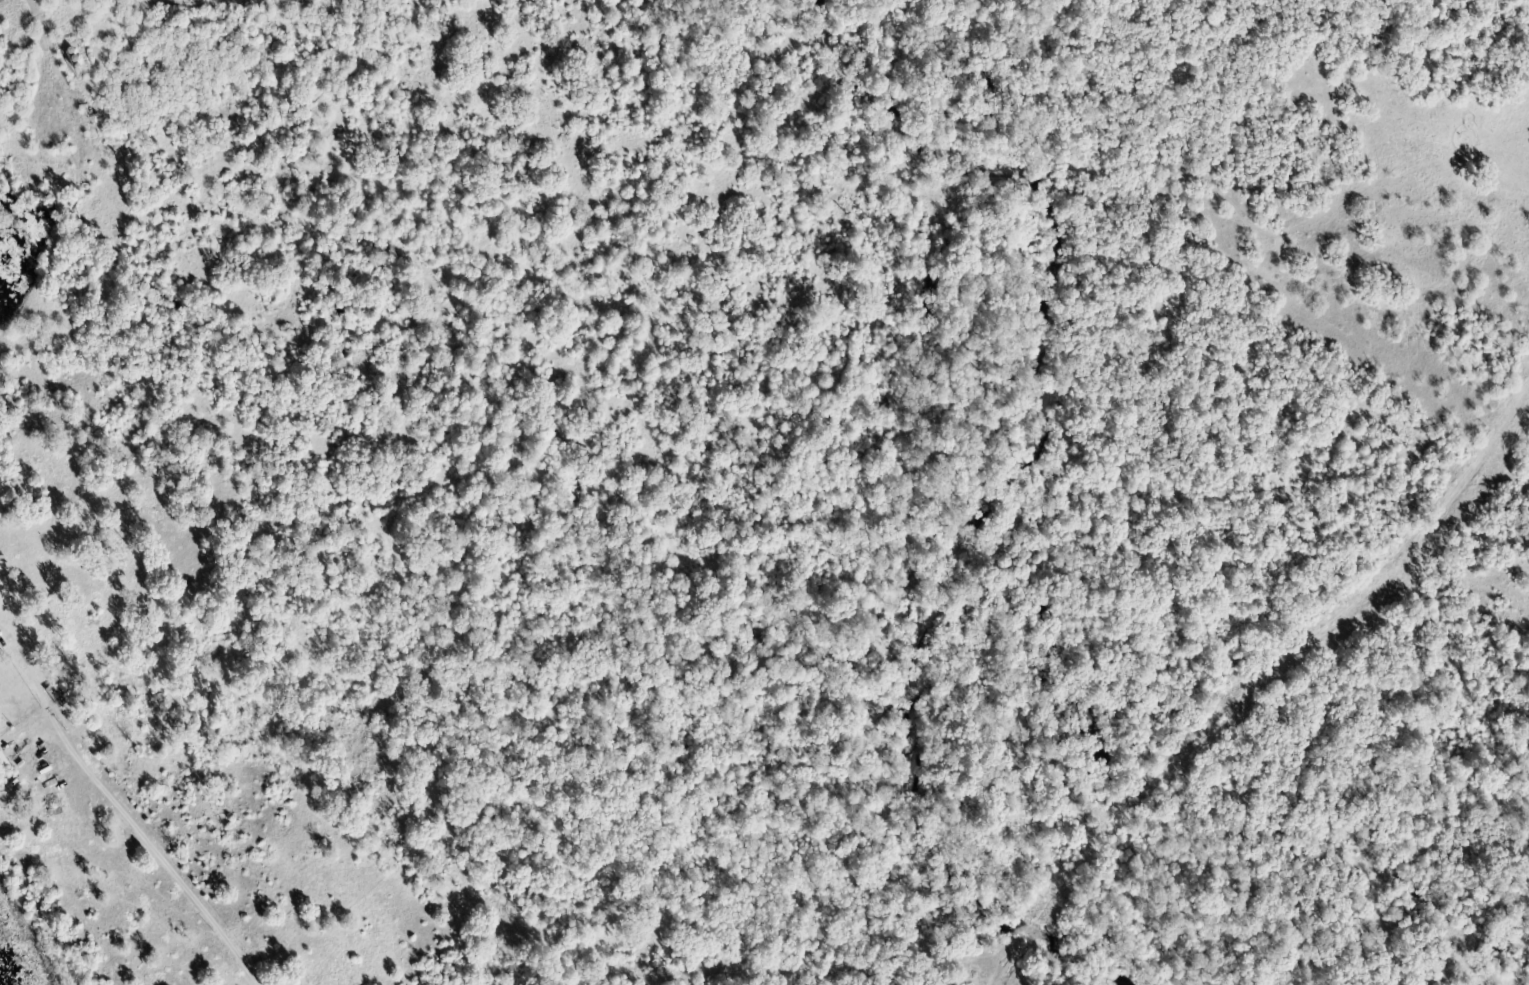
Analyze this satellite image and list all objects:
building: (56, 697)

